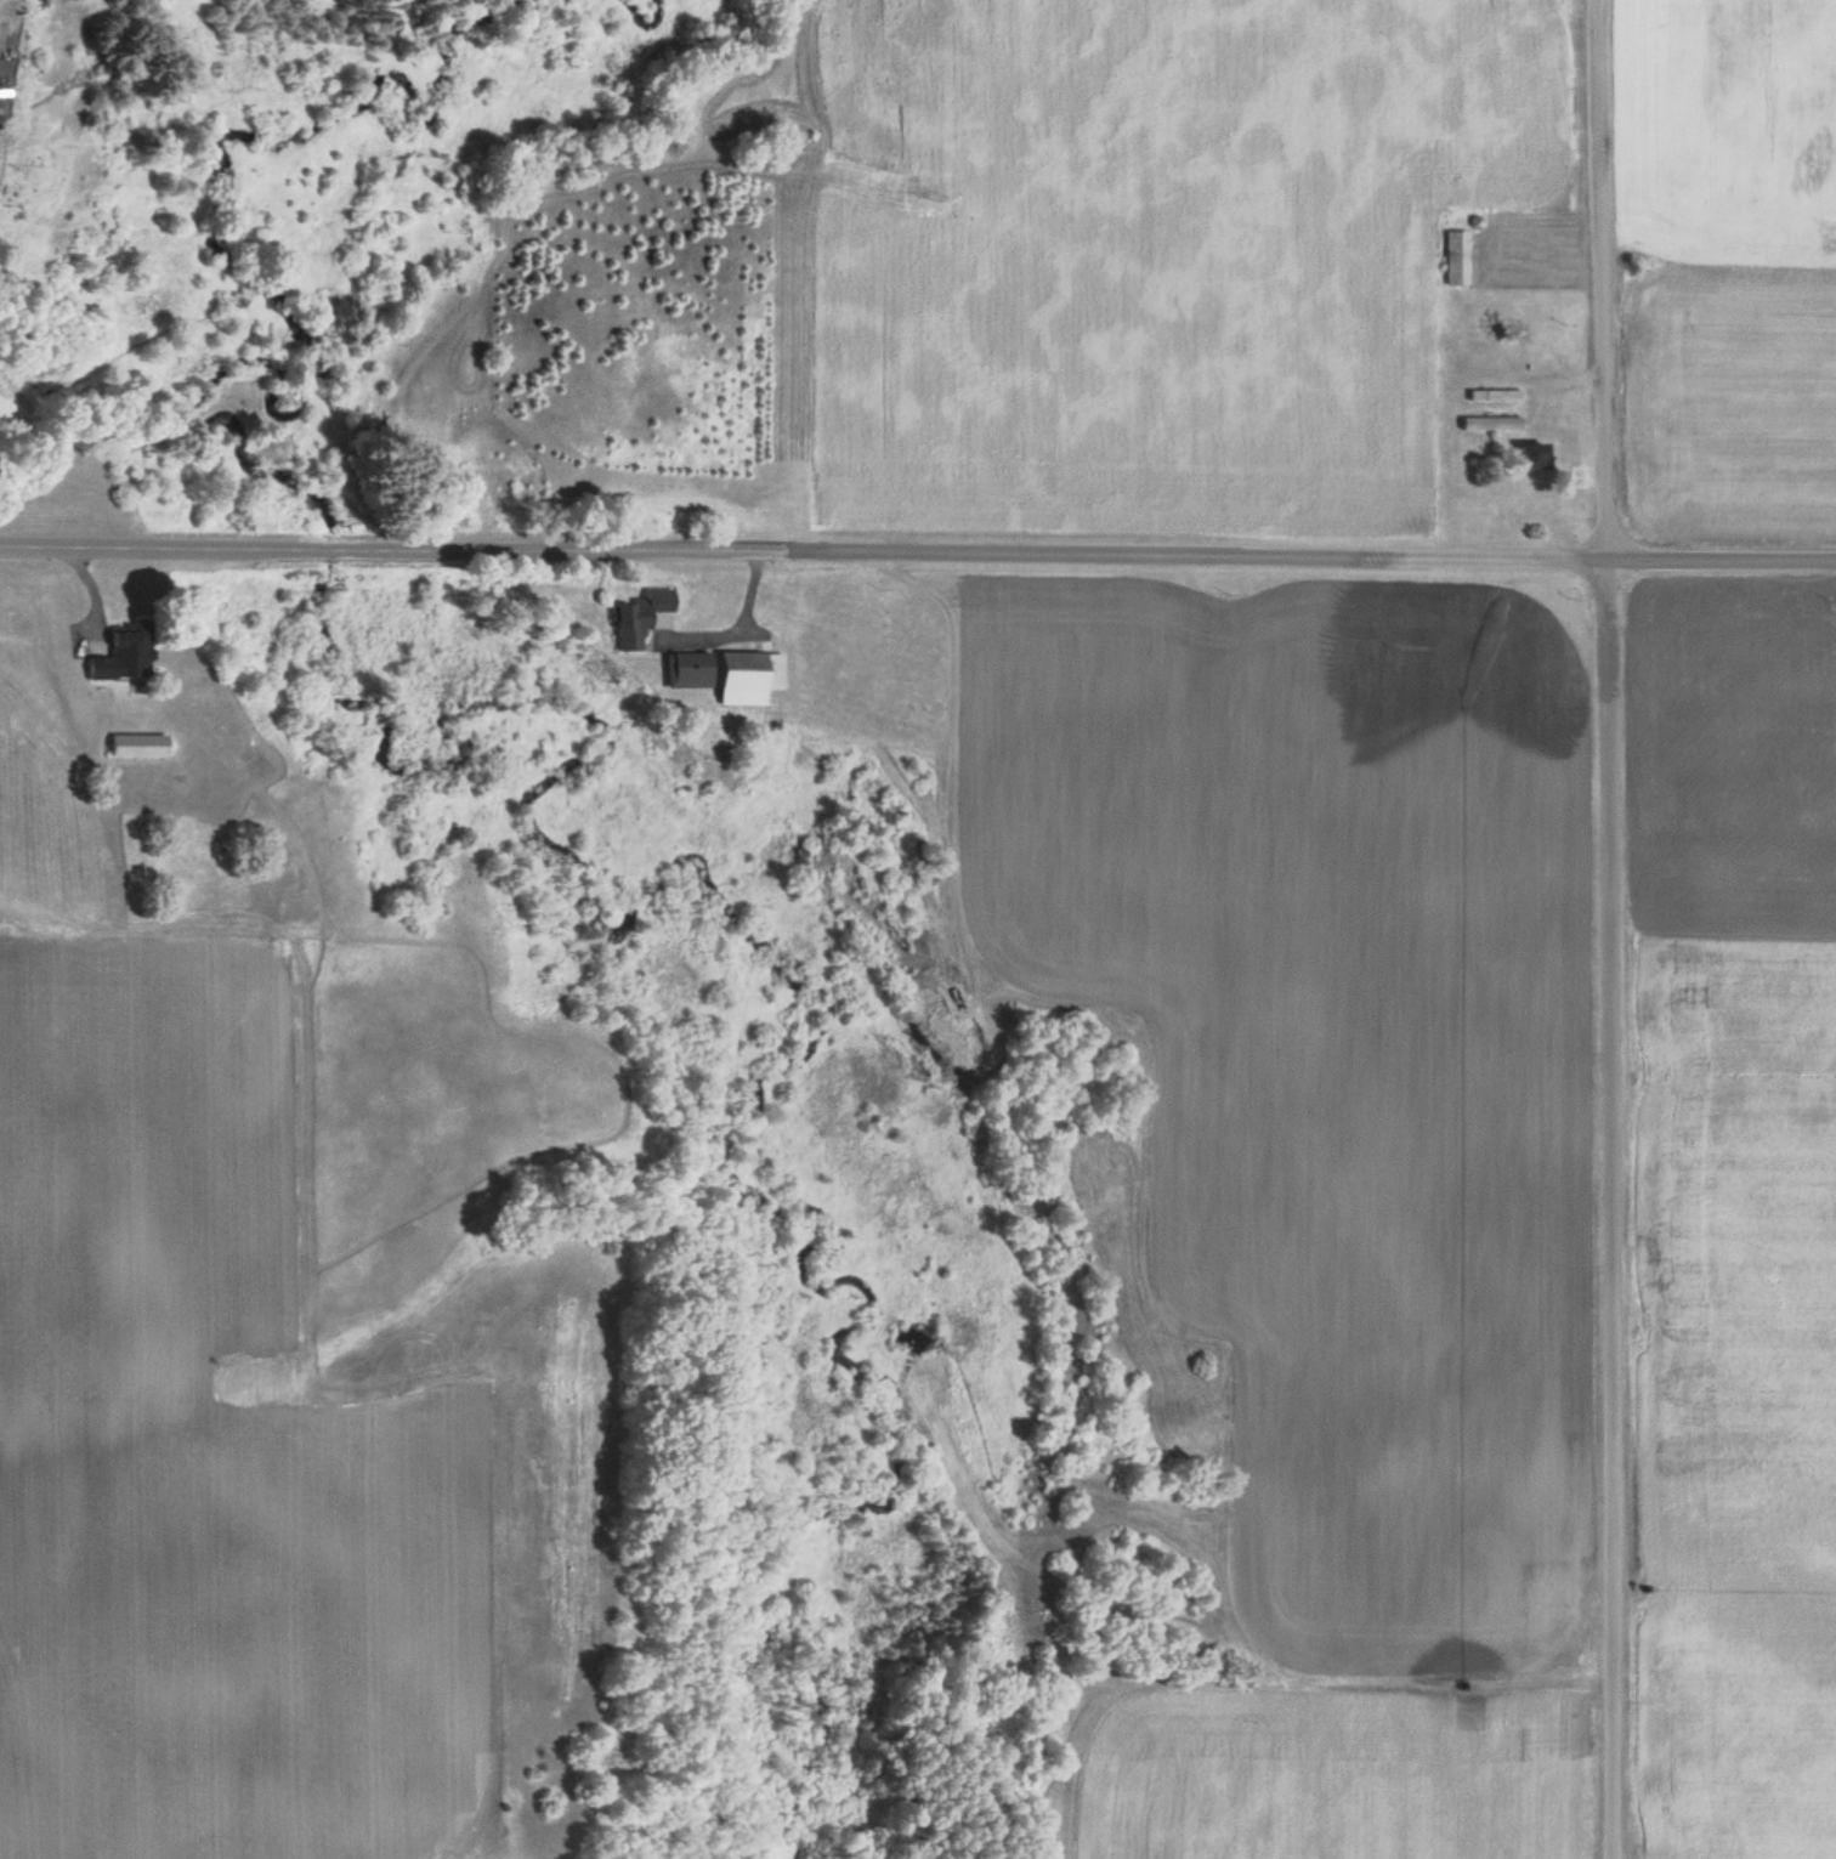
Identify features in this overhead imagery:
building: (1456, 256)
building: (1494, 393)
building: (1491, 423)
building: (1534, 454)
road: (917, 550)
building: (639, 617)
building: (126, 659)
building: (687, 669)
building: (749, 676)
building: (141, 746)
road: (1603, 929)

